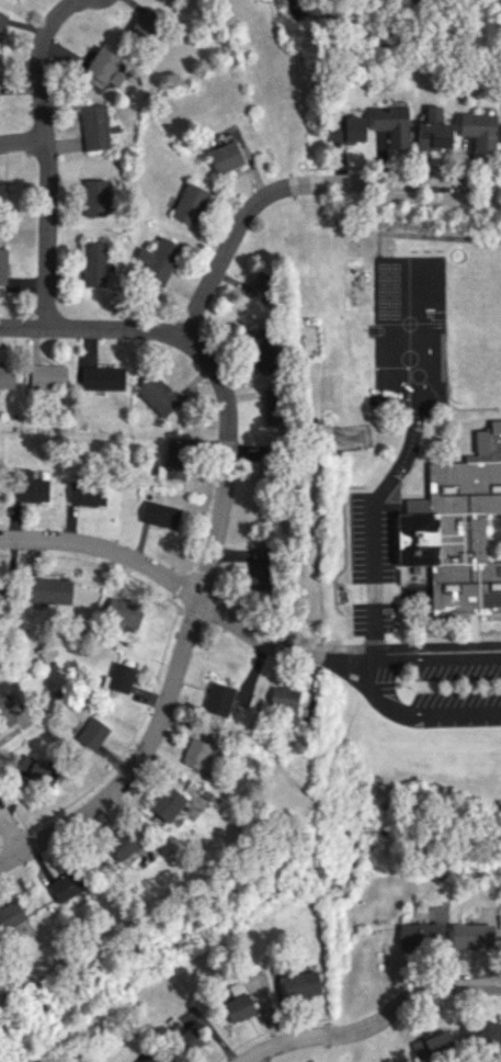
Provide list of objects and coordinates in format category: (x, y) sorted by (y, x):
building: (145, 22)
building: (2, 23)
building: (103, 68)
building: (391, 124)
building: (95, 127)
building: (346, 128)
building: (478, 129)
building: (433, 131)
road: (22, 140)
road: (45, 156)
building: (225, 157)
road: (272, 190)
building: (3, 194)
building: (95, 196)
building: (190, 204)
building: (157, 259)
building: (93, 263)
building: (3, 265)
road: (400, 270)
building: (261, 286)
road: (62, 326)
building: (263, 349)
building: (7, 376)
building: (47, 376)
building: (102, 377)
building: (157, 396)
building: (273, 406)
power tower: (352, 439)
building: (173, 461)
building: (27, 486)
building: (89, 494)
building: (160, 513)
road: (373, 524)
building: (457, 527)
building: (258, 567)
building: (49, 590)
building: (3, 591)
road: (186, 592)
building: (122, 611)
road: (183, 626)
road: (372, 676)
building: (121, 677)
building: (283, 697)
building: (218, 698)
building: (5, 713)
building: (92, 733)
building: (195, 753)
building: (23, 761)
building: (42, 772)
building: (167, 802)
road: (8, 835)
building: (123, 844)
building: (66, 884)
building: (11, 914)
building: (418, 935)
building: (471, 935)
building: (300, 984)
building: (238, 1007)
road: (375, 1023)
building: (481, 1031)
building: (190, 1038)
building: (432, 1044)

